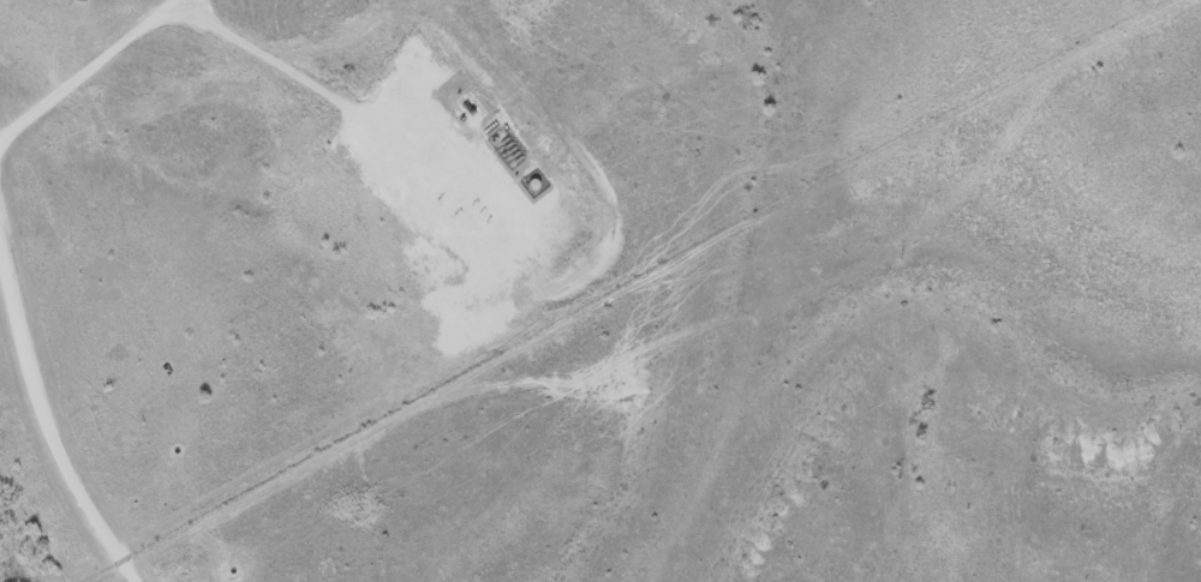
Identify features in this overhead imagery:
road: (85, 65)
road: (355, 112)
road: (47, 439)

